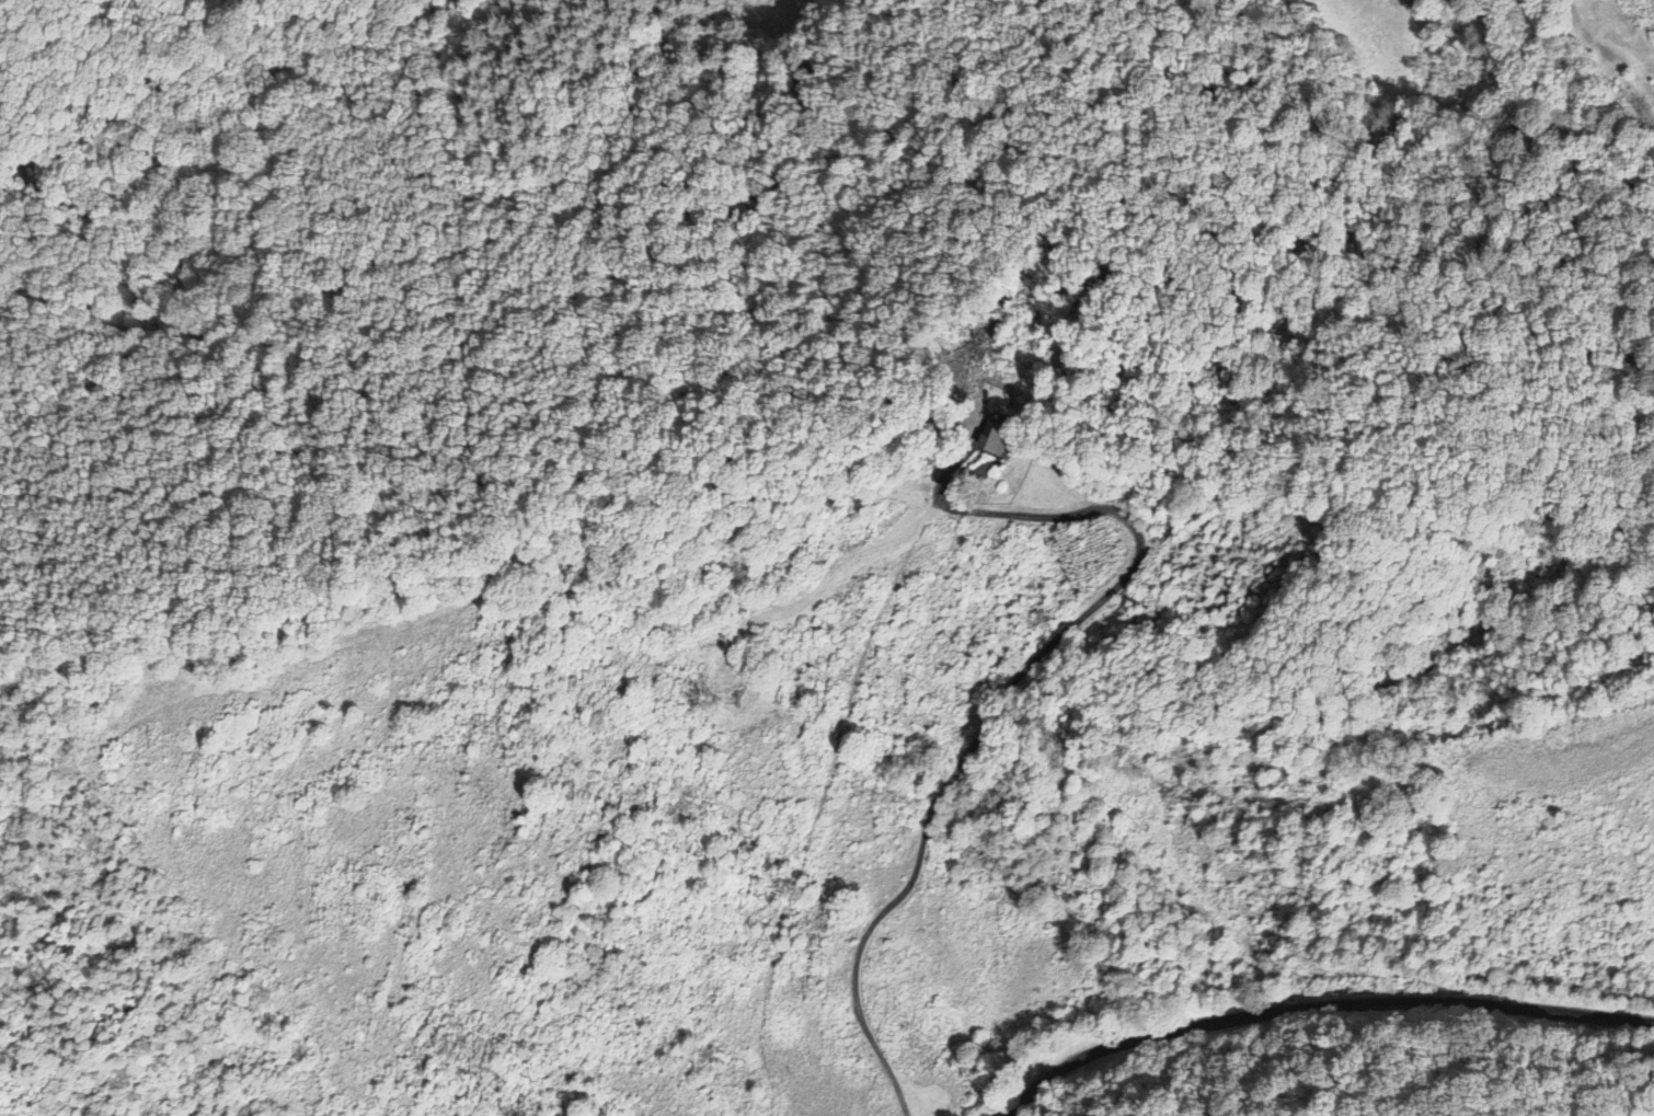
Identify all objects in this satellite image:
road: (1590, 45)
road: (1012, 692)
road: (1319, 1011)

